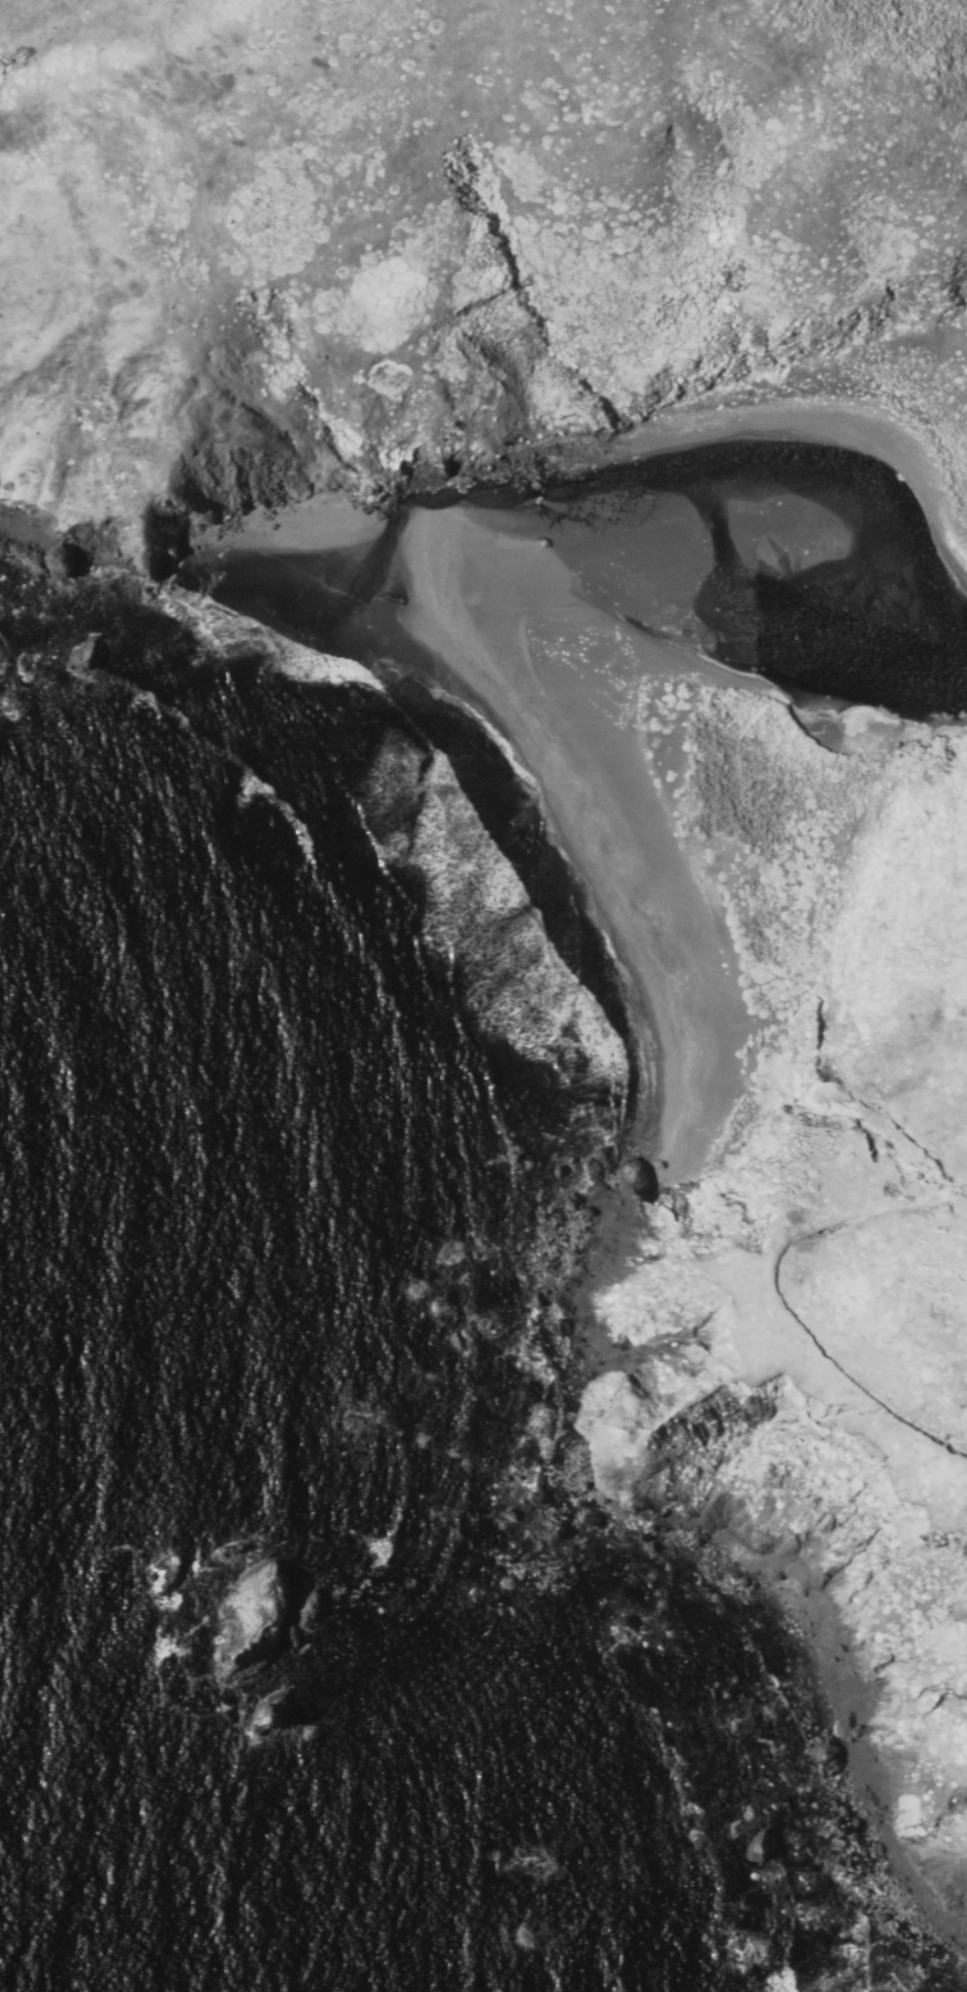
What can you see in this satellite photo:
road: (869, 1209)

